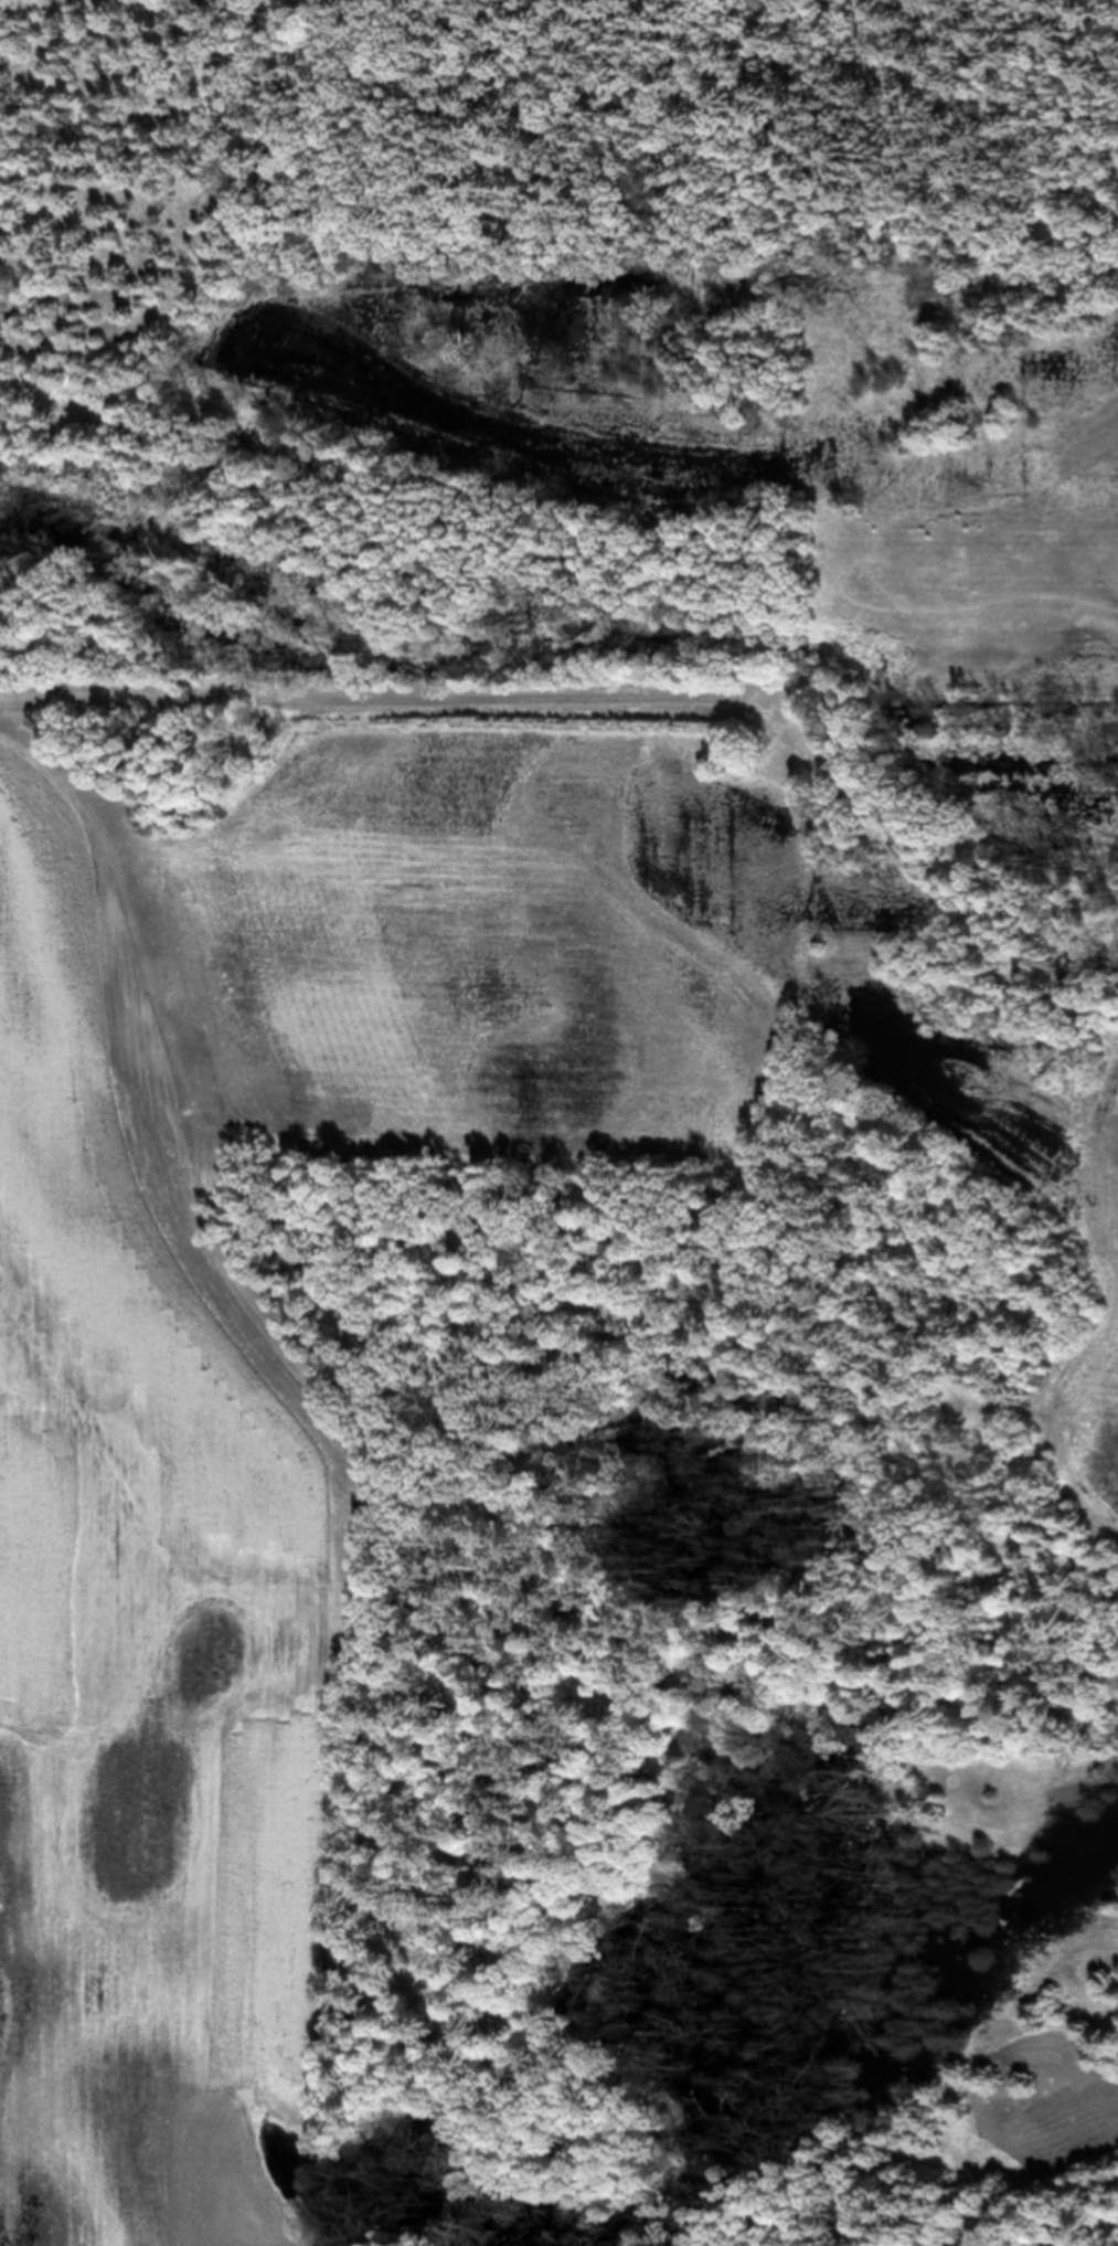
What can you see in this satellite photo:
road: (350, 695)

